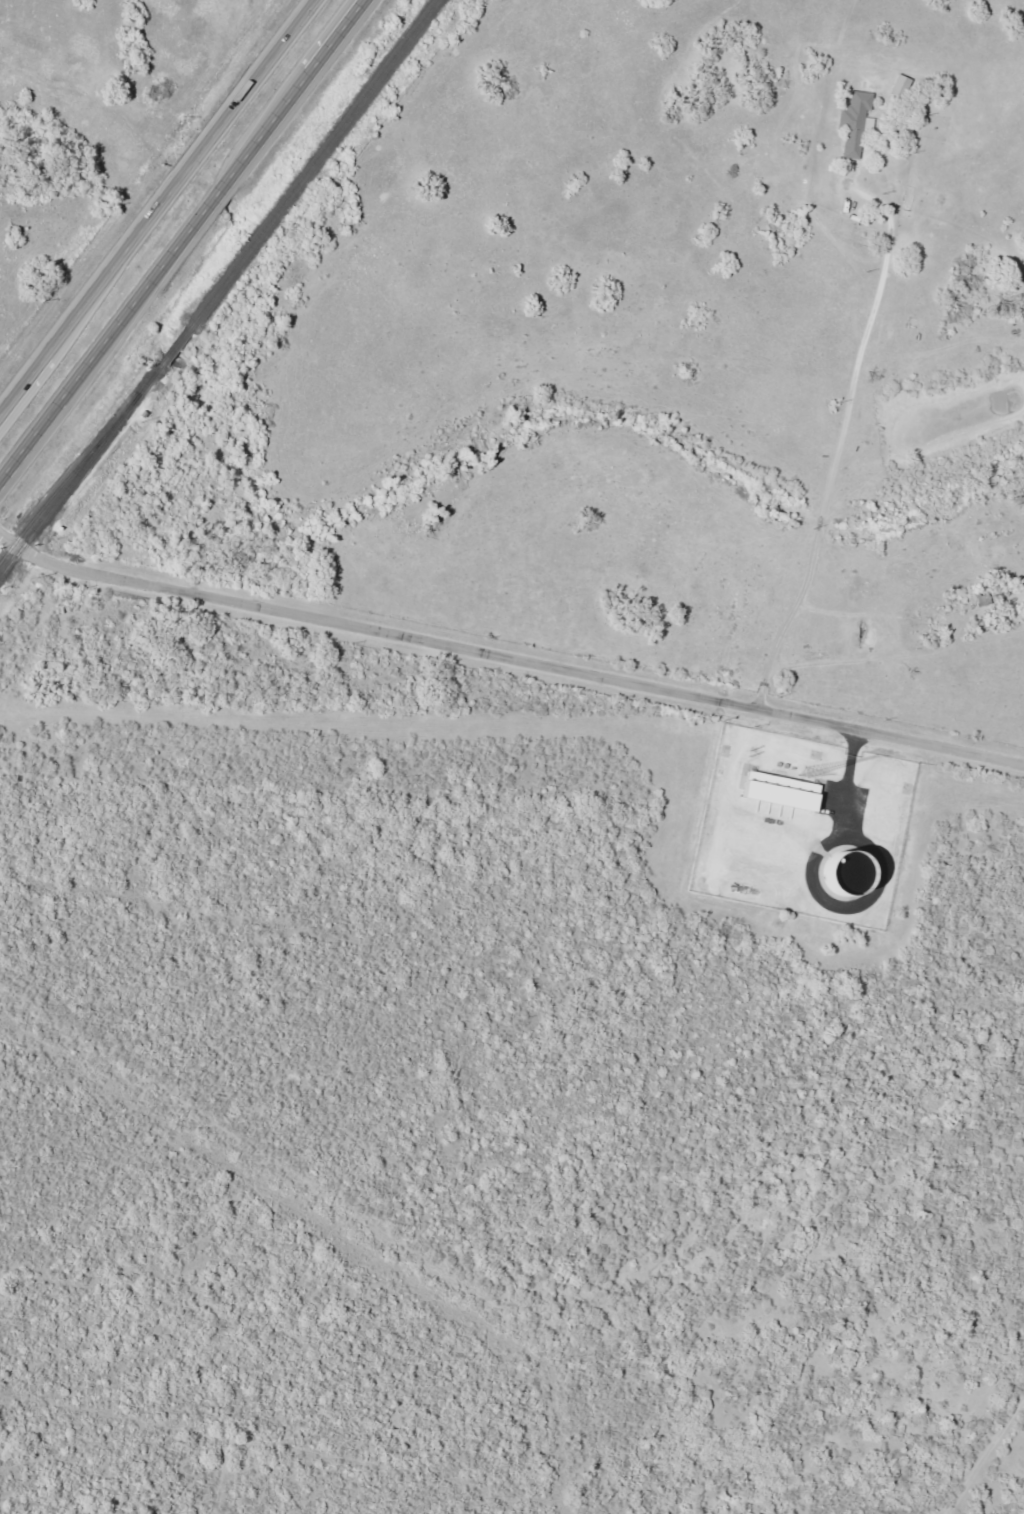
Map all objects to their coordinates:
building: (893, 87)
building: (846, 125)
road: (157, 206)
road: (189, 249)
railway: (220, 289)
road: (835, 462)
railway: (60, 487)
building: (979, 599)
road: (507, 657)
building: (773, 790)
building: (837, 871)
road: (997, 1471)

